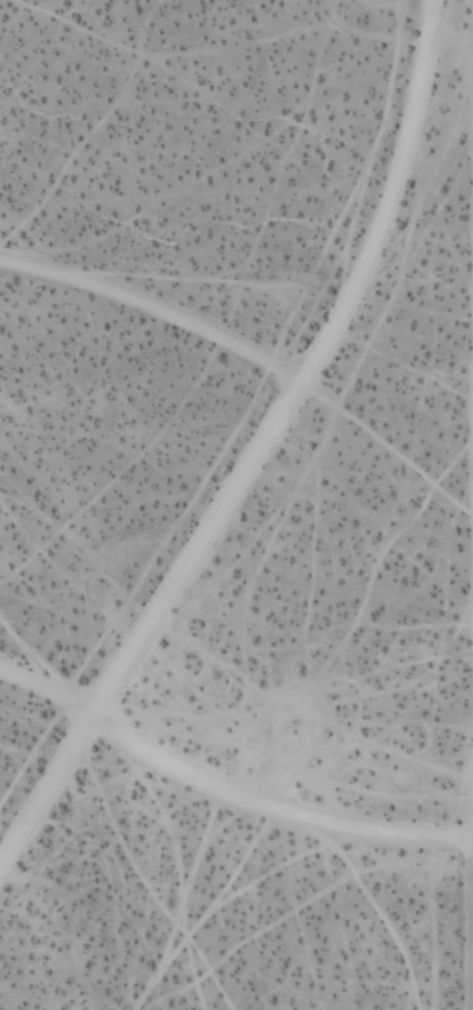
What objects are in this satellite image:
road: (306, 376)
crop: (345, 555)
road: (41, 689)
road: (287, 764)
road: (48, 794)
road: (263, 809)
road: (470, 842)
road: (469, 926)

